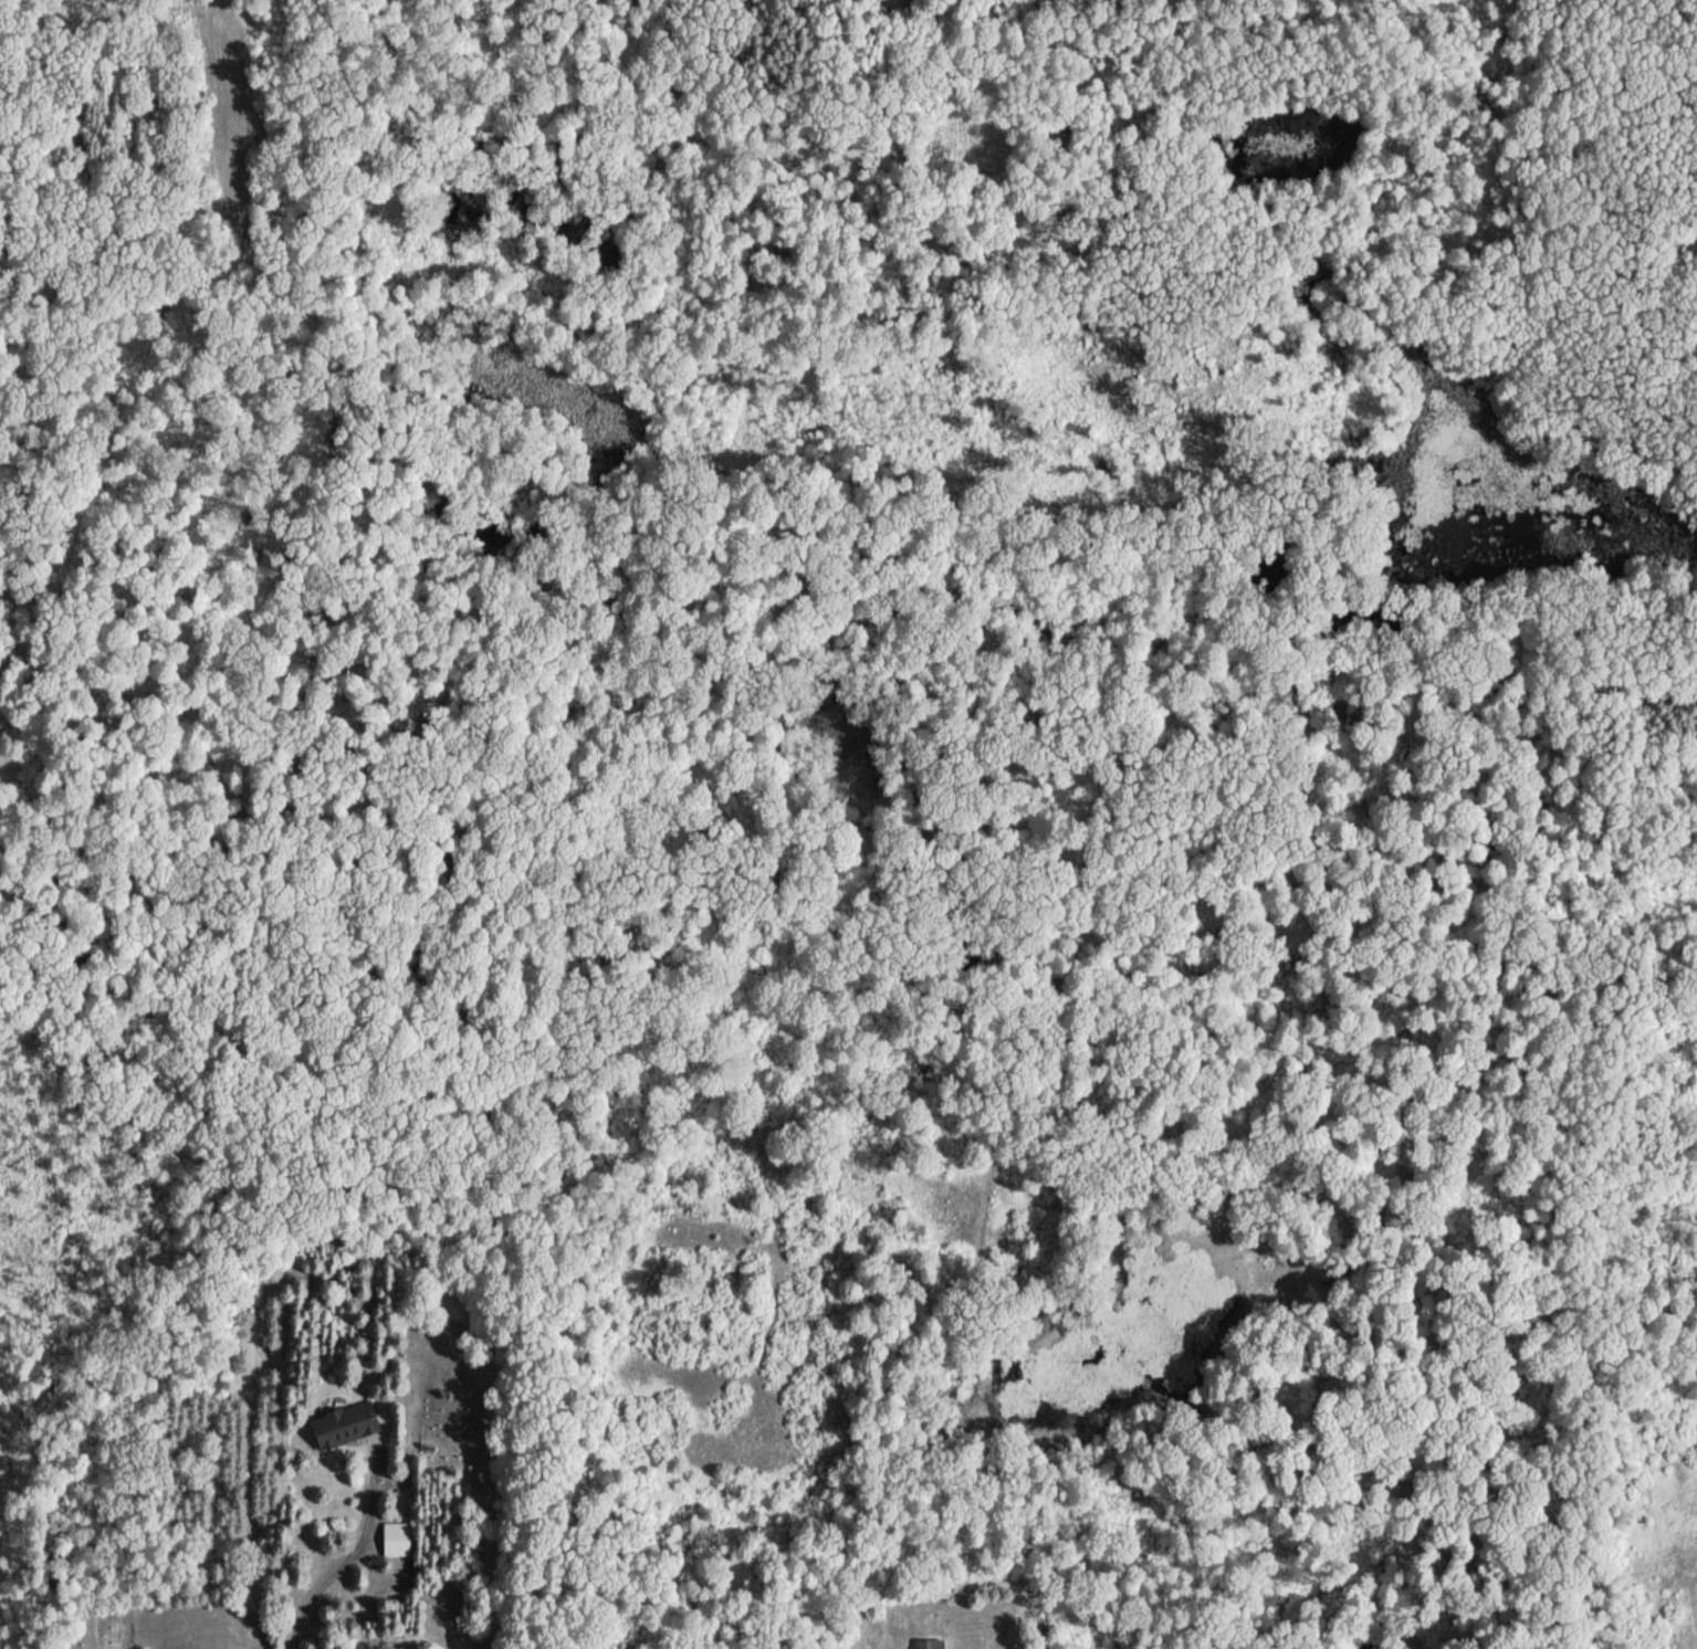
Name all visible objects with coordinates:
building: (344, 1426)
building: (395, 1541)
road: (347, 1558)
building: (928, 1645)

